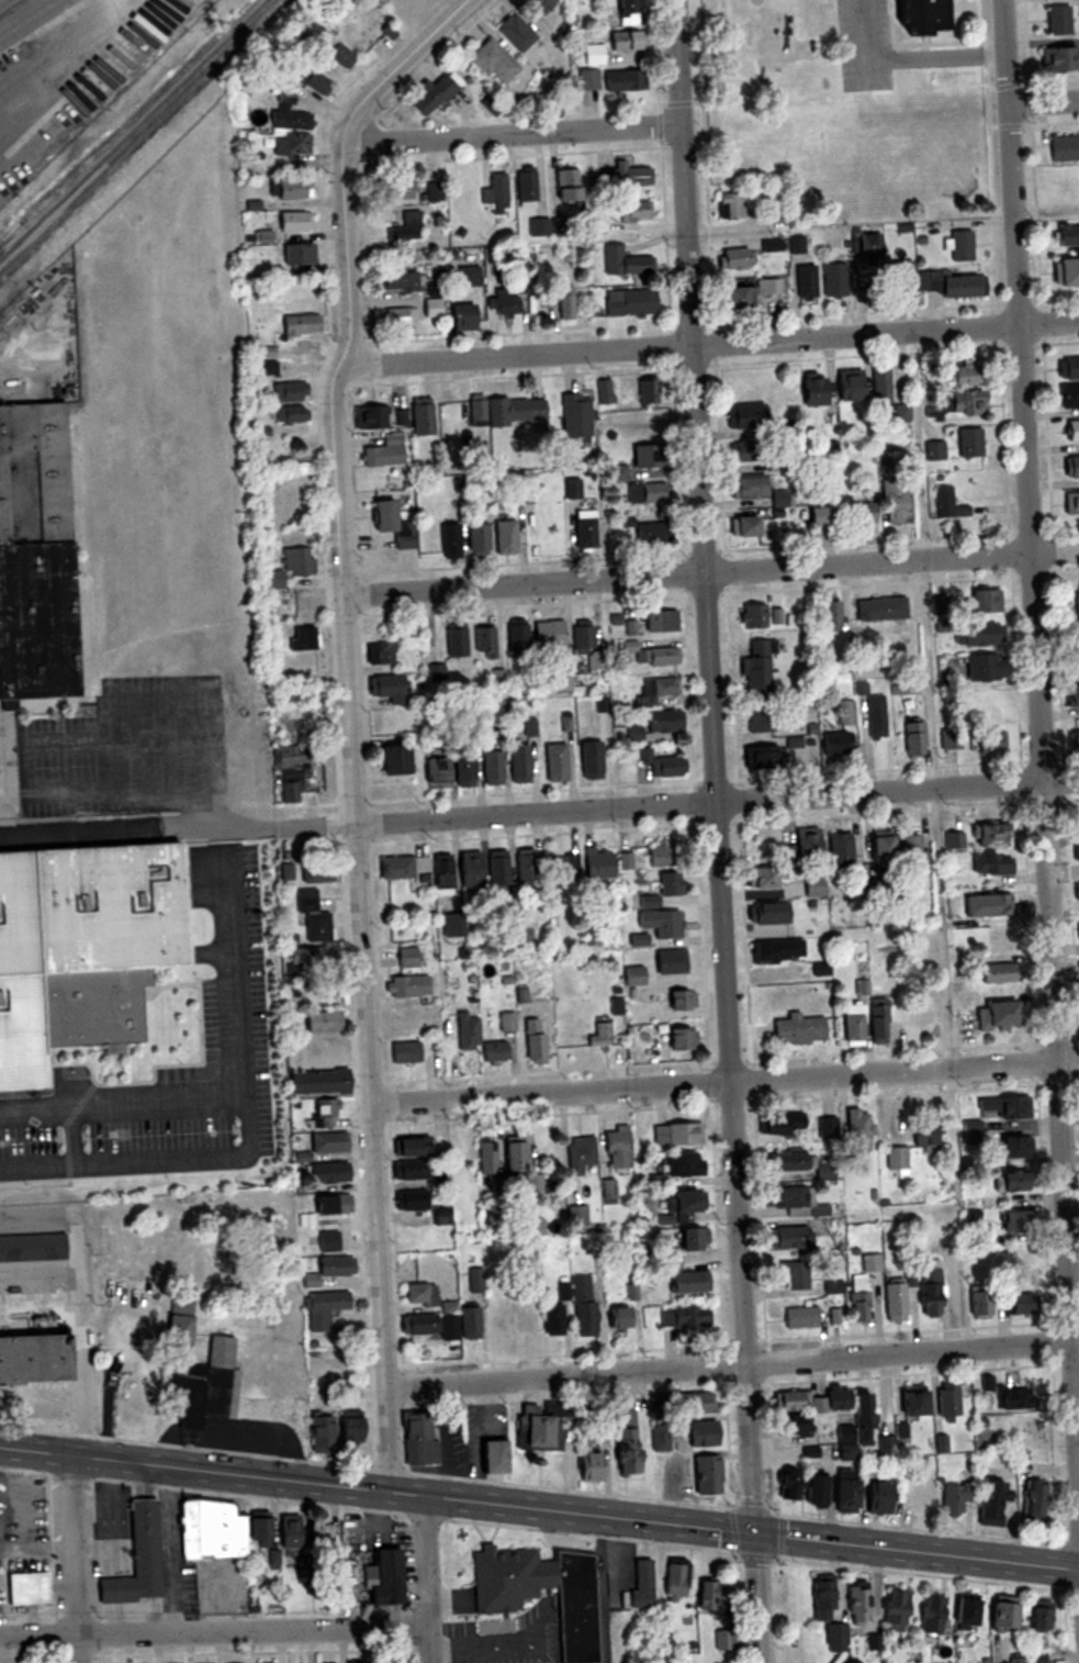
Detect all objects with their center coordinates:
building: (541, 4)
building: (625, 11)
building: (914, 15)
building: (1078, 16)
building: (1057, 19)
building: (515, 32)
building: (623, 40)
building: (326, 44)
building: (593, 54)
building: (1059, 58)
road: (904, 62)
building: (492, 63)
building: (313, 79)
building: (610, 79)
building: (429, 94)
road: (1044, 100)
building: (289, 120)
road: (509, 132)
railway: (142, 137)
building: (294, 144)
building: (1064, 148)
building: (629, 175)
building: (566, 186)
building: (525, 187)
building: (289, 189)
building: (393, 190)
building: (496, 193)
building: (730, 204)
building: (633, 211)
building: (292, 221)
building: (595, 223)
building: (405, 228)
building: (1066, 235)
building: (772, 245)
building: (870, 246)
building: (959, 246)
building: (296, 254)
building: (734, 258)
building: (625, 261)
building: (1066, 274)
building: (467, 277)
building: (899, 277)
building: (833, 280)
building: (397, 281)
building: (803, 282)
building: (951, 284)
building: (435, 287)
building: (746, 293)
building: (548, 297)
building: (628, 302)
building: (505, 303)
building: (564, 303)
building: (434, 306)
building: (398, 316)
building: (461, 317)
building: (299, 324)
road: (710, 343)
building: (265, 368)
building: (1068, 369)
building: (956, 377)
road: (915, 379)
building: (880, 383)
building: (850, 387)
building: (651, 390)
building: (289, 391)
building: (810, 392)
building: (1068, 395)
building: (954, 404)
building: (507, 411)
building: (901, 413)
building: (290, 414)
building: (575, 414)
building: (420, 416)
building: (745, 416)
building: (370, 417)
building: (1071, 431)
building: (969, 443)
building: (384, 451)
building: (744, 453)
building: (648, 457)
building: (775, 466)
building: (1071, 467)
building: (618, 472)
building: (746, 488)
building: (524, 492)
building: (643, 493)
building: (893, 502)
building: (780, 503)
building: (1071, 504)
building: (949, 506)
building: (864, 514)
building: (821, 516)
building: (393, 524)
building: (742, 527)
building: (582, 531)
building: (645, 533)
building: (504, 537)
building: (476, 538)
building: (449, 540)
building: (33, 555)
building: (286, 568)
road: (710, 574)
building: (980, 603)
building: (1076, 607)
building: (881, 610)
building: (761, 617)
building: (828, 617)
building: (657, 623)
building: (548, 635)
building: (975, 636)
building: (301, 638)
building: (517, 638)
building: (453, 640)
building: (484, 641)
building: (586, 645)
building: (380, 655)
building: (650, 656)
building: (757, 667)
building: (982, 669)
building: (561, 682)
building: (385, 689)
building: (659, 689)
building: (1071, 695)
building: (984, 701)
road: (1039, 707)
building: (845, 714)
road: (350, 716)
building: (876, 716)
building: (760, 719)
building: (654, 725)
building: (530, 728)
building: (1074, 737)
building: (912, 739)
building: (949, 739)
building: (988, 743)
building: (833, 745)
building: (761, 758)
building: (589, 760)
building: (553, 762)
building: (517, 763)
building: (660, 764)
building: (491, 769)
building: (460, 771)
building: (290, 772)
building: (432, 773)
road: (683, 803)
road: (940, 813)
building: (1077, 821)
road: (720, 830)
building: (988, 834)
building: (954, 838)
building: (805, 842)
building: (878, 848)
building: (839, 850)
building: (914, 850)
building: (1077, 852)
building: (661, 855)
building: (597, 862)
building: (990, 862)
building: (563, 864)
building: (525, 866)
building: (395, 867)
building: (497, 867)
building: (469, 869)
building: (315, 871)
building: (434, 871)
building: (764, 875)
building: (668, 882)
building: (1077, 893)
building: (647, 900)
building: (987, 903)
building: (767, 913)
building: (454, 922)
building: (659, 922)
building: (1078, 930)
building: (999, 937)
building: (776, 950)
building: (86, 956)
building: (411, 956)
building: (305, 960)
building: (668, 960)
building: (998, 972)
building: (1078, 973)
building: (632, 974)
building: (407, 985)
building: (679, 998)
building: (919, 1011)
building: (994, 1014)
building: (319, 1020)
building: (506, 1020)
building: (877, 1020)
building: (852, 1023)
building: (467, 1028)
building: (797, 1028)
building: (599, 1034)
building: (677, 1037)
building: (533, 1039)
building: (404, 1051)
building: (316, 1081)
road: (724, 1081)
building: (1002, 1107)
building: (324, 1113)
building: (783, 1121)
building: (828, 1126)
building: (857, 1129)
building: (676, 1132)
building: (924, 1134)
building: (327, 1142)
building: (409, 1146)
building: (1010, 1146)
building: (617, 1149)
building: (582, 1154)
building: (512, 1157)
building: (487, 1158)
building: (896, 1159)
building: (786, 1160)
building: (682, 1163)
building: (407, 1170)
building: (325, 1172)
building: (1009, 1180)
building: (533, 1183)
building: (786, 1196)
building: (411, 1199)
building: (684, 1201)
building: (329, 1203)
building: (576, 1215)
building: (683, 1217)
building: (1011, 1220)
building: (788, 1236)
building: (328, 1241)
building: (684, 1243)
building: (33, 1248)
building: (870, 1261)
building: (1016, 1261)
building: (331, 1265)
building: (795, 1273)
building: (687, 1281)
building: (833, 1286)
building: (929, 1286)
building: (419, 1293)
building: (858, 1296)
building: (182, 1298)
building: (1019, 1299)
building: (893, 1301)
building: (979, 1301)
building: (583, 1306)
building: (324, 1308)
building: (685, 1315)
building: (799, 1316)
building: (519, 1317)
building: (615, 1317)
building: (552, 1318)
building: (495, 1319)
building: (469, 1321)
road: (82, 1322)
building: (418, 1324)
building: (34, 1342)
road: (731, 1363)
building: (198, 1373)
building: (1012, 1398)
building: (789, 1399)
building: (946, 1399)
building: (693, 1402)
building: (912, 1403)
building: (846, 1404)
building: (791, 1424)
building: (530, 1427)
building: (348, 1430)
building: (700, 1431)
building: (318, 1432)
building: (660, 1437)
building: (417, 1441)
building: (626, 1442)
building: (845, 1442)
building: (490, 1455)
building: (586, 1465)
building: (705, 1474)
building: (787, 1485)
building: (811, 1489)
building: (842, 1489)
building: (877, 1498)
building: (954, 1498)
building: (1033, 1502)
building: (990, 1504)
road: (539, 1507)
building: (215, 1530)
building: (285, 1531)
traffic signals: (755, 1532)
building: (313, 1536)
road: (75, 1558)
building: (136, 1558)
building: (303, 1567)
building: (380, 1575)
road: (428, 1578)
building: (673, 1582)
building: (641, 1583)
building: (24, 1588)
building: (708, 1596)
building: (821, 1600)
building: (572, 1601)
building: (856, 1605)
building: (893, 1611)
building: (931, 1614)
building: (963, 1614)
building: (998, 1616)
building: (1036, 1616)
road: (215, 1631)
building: (835, 1638)
building: (356, 1662)
building: (384, 1662)

